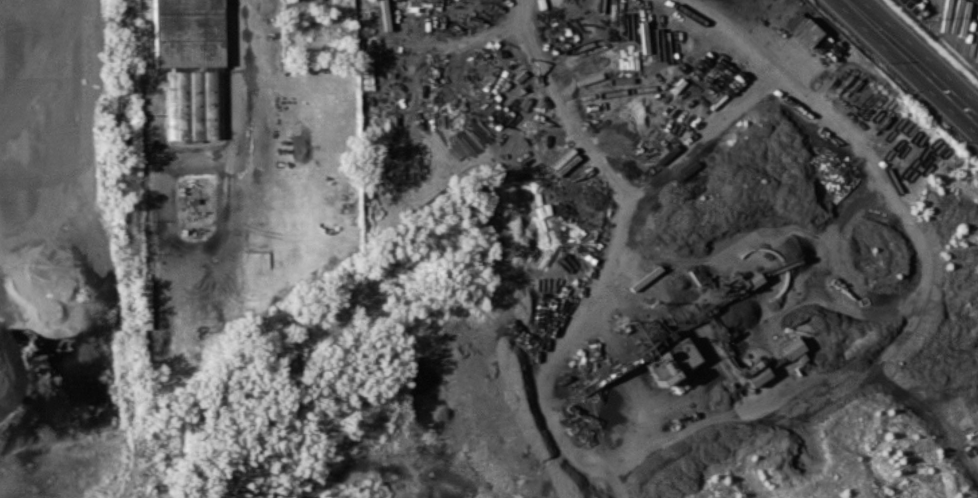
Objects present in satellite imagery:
building: (189, 32)
building: (803, 32)
road: (912, 60)
road: (240, 76)
building: (789, 348)

